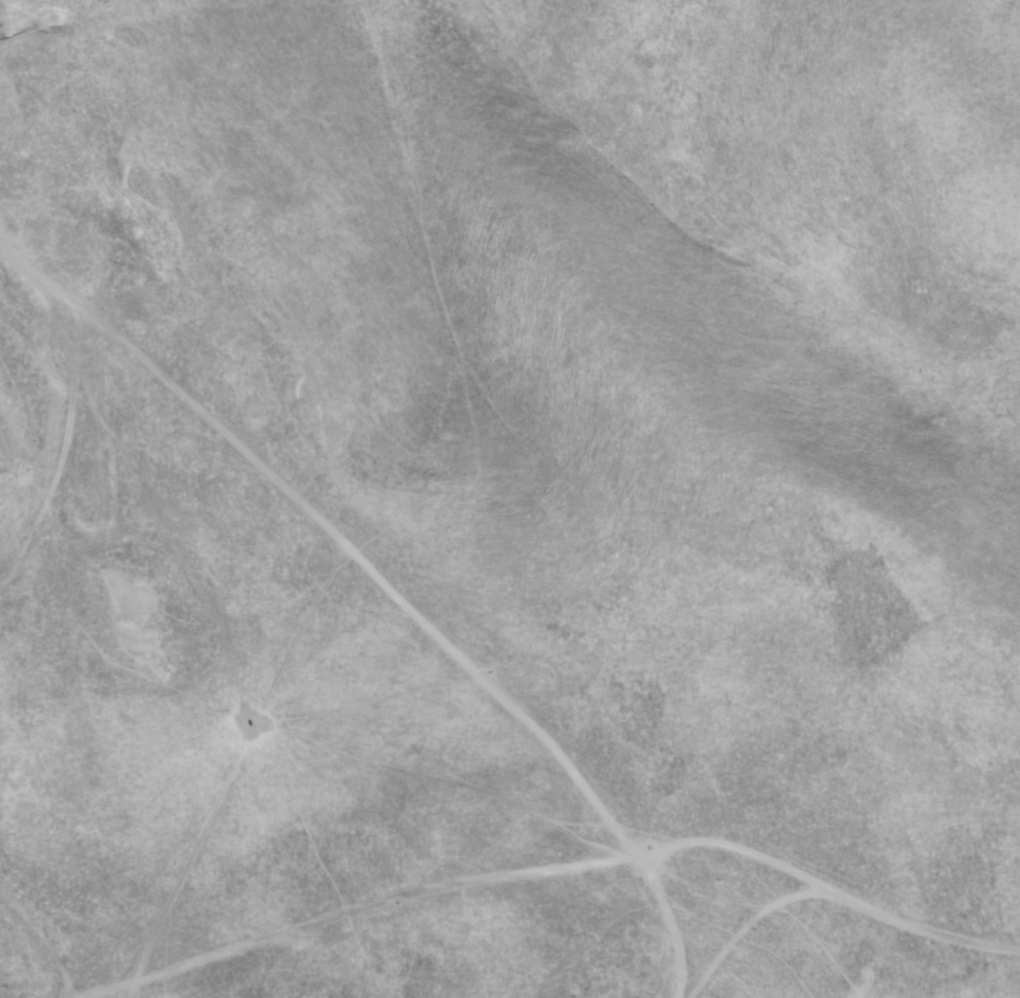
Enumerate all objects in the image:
road: (60, 572)
road: (464, 668)
quarry: (248, 672)
road: (43, 941)

